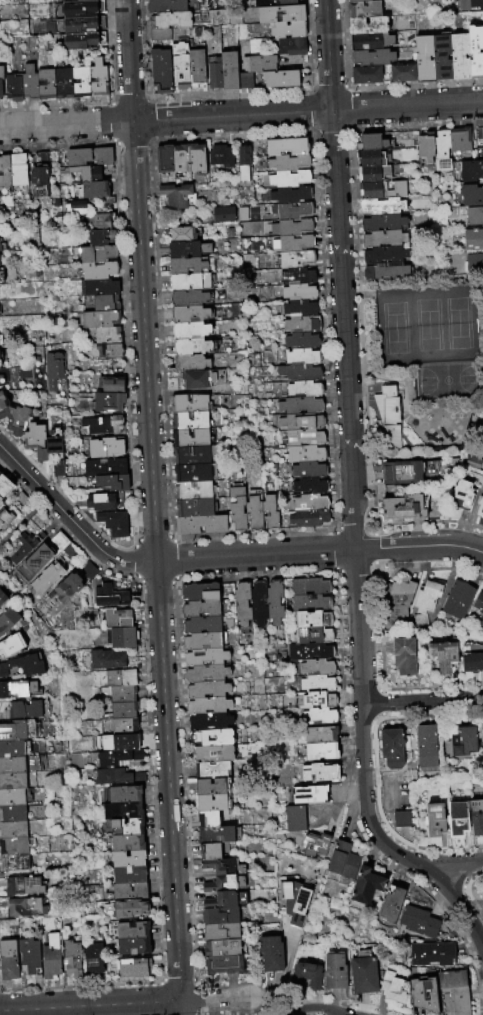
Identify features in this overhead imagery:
building: (84, 0)
building: (358, 0)
building: (285, 4)
building: (470, 4)
building: (166, 6)
building: (82, 8)
building: (364, 9)
building: (280, 14)
building: (170, 20)
building: (83, 24)
building: (367, 25)
building: (287, 30)
building: (160, 34)
building: (84, 40)
building: (372, 41)
building: (291, 47)
building: (475, 50)
road: (328, 55)
building: (372, 57)
building: (441, 57)
building: (460, 57)
building: (424, 58)
road: (128, 61)
building: (258, 64)
building: (181, 66)
building: (197, 69)
building: (160, 70)
building: (228, 71)
building: (402, 72)
building: (214, 73)
building: (366, 75)
building: (99, 78)
building: (1, 79)
building: (280, 79)
building: (245, 81)
building: (83, 82)
building: (30, 83)
building: (47, 83)
building: (66, 83)
building: (14, 88)
road: (407, 106)
road: (231, 116)
road: (66, 125)
building: (482, 133)
building: (459, 140)
building: (371, 142)
building: (286, 146)
building: (425, 149)
building: (441, 150)
building: (220, 156)
building: (371, 157)
building: (87, 158)
building: (196, 159)
building: (180, 160)
building: (163, 161)
building: (242, 162)
building: (288, 163)
building: (471, 169)
building: (16, 170)
building: (4, 173)
building: (375, 173)
building: (84, 174)
building: (37, 177)
building: (289, 179)
building: (383, 189)
building: (93, 193)
building: (471, 194)
building: (290, 195)
building: (176, 197)
building: (382, 205)
building: (74, 209)
building: (290, 211)
building: (223, 215)
building: (474, 216)
building: (98, 222)
building: (383, 222)
building: (290, 227)
building: (181, 234)
building: (47, 235)
building: (99, 238)
building: (383, 238)
building: (473, 239)
building: (292, 244)
building: (0, 248)
building: (187, 249)
building: (93, 254)
building: (384, 254)
building: (296, 259)
building: (473, 264)
building: (188, 265)
building: (385, 270)
building: (96, 271)
building: (297, 276)
building: (189, 282)
building: (96, 288)
building: (298, 292)
building: (188, 298)
building: (103, 304)
building: (299, 308)
building: (190, 314)
building: (98, 320)
building: (300, 325)
park: (426, 328)
building: (190, 332)
building: (105, 336)
building: (301, 341)
road: (143, 342)
building: (193, 347)
building: (106, 352)
building: (301, 357)
building: (0, 360)
building: (189, 363)
park: (422, 364)
building: (54, 370)
building: (298, 372)
building: (203, 379)
park: (446, 385)
building: (109, 386)
building: (303, 390)
building: (3, 403)
building: (106, 403)
building: (189, 404)
building: (299, 406)
building: (389, 417)
building: (14, 420)
building: (188, 421)
building: (301, 422)
building: (101, 426)
building: (190, 438)
building: (304, 438)
building: (33, 441)
building: (52, 442)
building: (103, 448)
building: (305, 454)
building: (191, 455)
building: (472, 463)
building: (103, 468)
building: (0, 469)
building: (56, 470)
building: (308, 470)
building: (191, 473)
building: (409, 473)
building: (0, 475)
building: (111, 483)
building: (482, 484)
building: (4, 486)
building: (309, 486)
building: (192, 491)
building: (463, 494)
building: (19, 500)
building: (99, 503)
building: (309, 503)
building: (480, 507)
building: (195, 508)
building: (404, 508)
building: (237, 509)
building: (253, 510)
building: (269, 513)
building: (5, 518)
road: (70, 519)
building: (308, 519)
building: (111, 524)
building: (200, 525)
building: (21, 548)
road: (319, 552)
road: (355, 553)
building: (46, 554)
building: (84, 572)
building: (42, 580)
building: (308, 587)
building: (62, 590)
building: (198, 593)
building: (108, 597)
building: (3, 598)
building: (426, 598)
building: (396, 600)
building: (456, 601)
building: (273, 603)
building: (258, 604)
building: (242, 605)
building: (309, 605)
building: (478, 606)
building: (199, 609)
building: (115, 620)
building: (8, 621)
building: (310, 621)
building: (200, 626)
building: (311, 636)
building: (120, 639)
building: (201, 642)
building: (11, 645)
building: (308, 652)
building: (443, 657)
building: (204, 658)
building: (403, 658)
building: (471, 659)
building: (107, 661)
building: (22, 666)
building: (316, 669)
building: (205, 674)
building: (118, 679)
building: (316, 685)
building: (13, 689)
building: (206, 690)
building: (120, 695)
building: (314, 701)
road: (423, 701)
building: (207, 708)
building: (22, 710)
building: (121, 711)
building: (318, 717)
building: (207, 724)
building: (121, 727)
building: (16, 732)
building: (319, 736)
building: (210, 739)
building: (481, 740)
building: (463, 742)
building: (116, 744)
building: (425, 747)
building: (392, 749)
building: (10, 750)
building: (319, 752)
building: (212, 755)
building: (115, 758)
building: (11, 766)
building: (210, 771)
building: (320, 774)
building: (115, 778)
road: (167, 781)
building: (11, 782)
building: (211, 787)
building: (121, 795)
building: (309, 796)
building: (11, 799)
building: (213, 804)
building: (120, 812)
building: (11, 815)
building: (475, 818)
building: (293, 819)
building: (207, 820)
building: (400, 820)
building: (456, 820)
building: (433, 821)
building: (123, 828)
building: (11, 831)
building: (214, 836)
building: (125, 844)
building: (313, 845)
building: (12, 847)
building: (209, 852)
building: (126, 860)
building: (12, 864)
building: (340, 864)
road: (457, 865)
building: (221, 867)
building: (127, 876)
building: (223, 885)
building: (365, 887)
building: (20, 888)
building: (127, 893)
building: (224, 901)
building: (294, 905)
building: (390, 905)
building: (22, 909)
building: (126, 909)
building: (218, 917)
building: (417, 923)
building: (129, 931)
building: (219, 934)
building: (130, 948)
building: (220, 949)
building: (270, 954)
building: (430, 955)
building: (30, 956)
building: (52, 956)
building: (94, 957)
building: (71, 958)
building: (8, 961)
building: (222, 965)
building: (131, 969)
building: (333, 973)
building: (362, 974)
road: (283, 975)
building: (304, 978)
building: (390, 988)
building: (453, 991)
building: (423, 996)
road: (214, 999)
road: (90, 1006)
road: (266, 1006)
road: (311, 1007)
road: (180, 1008)

